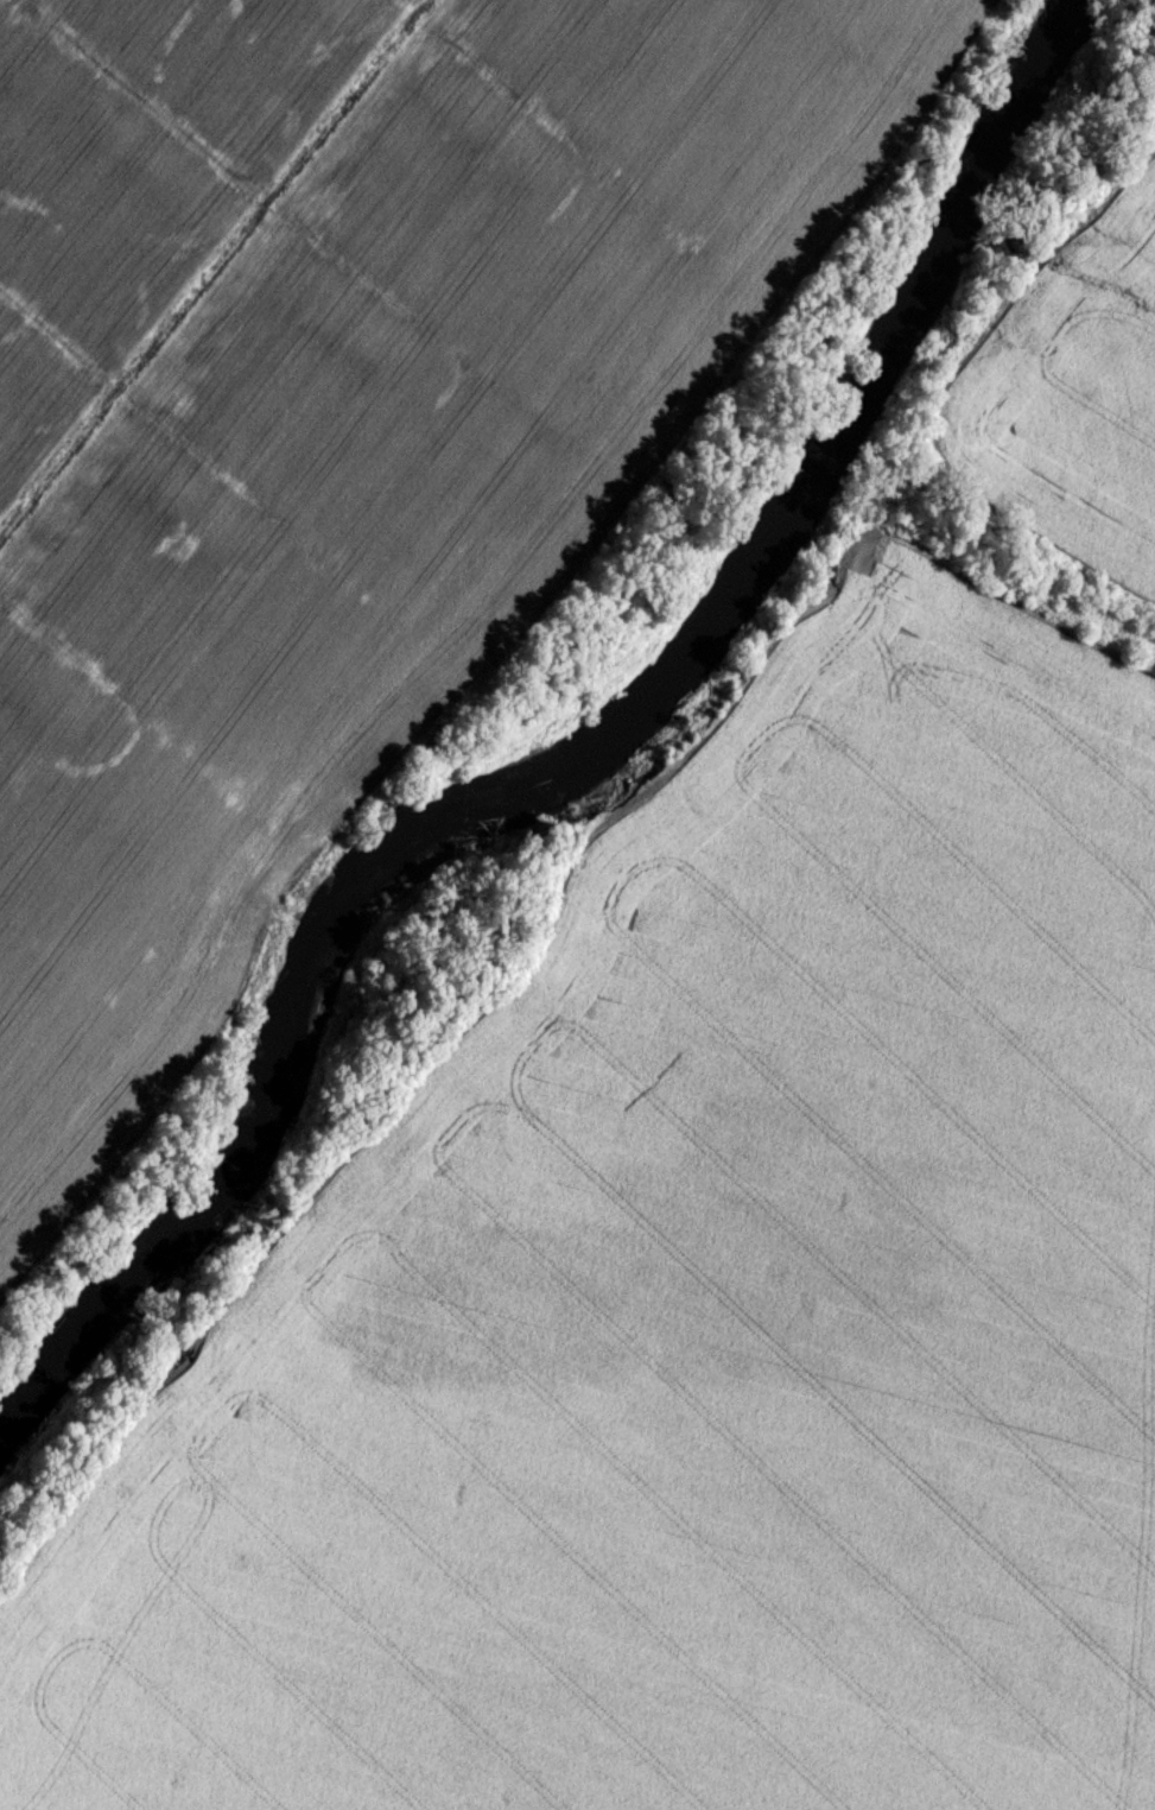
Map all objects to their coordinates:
river: (569, 749)

